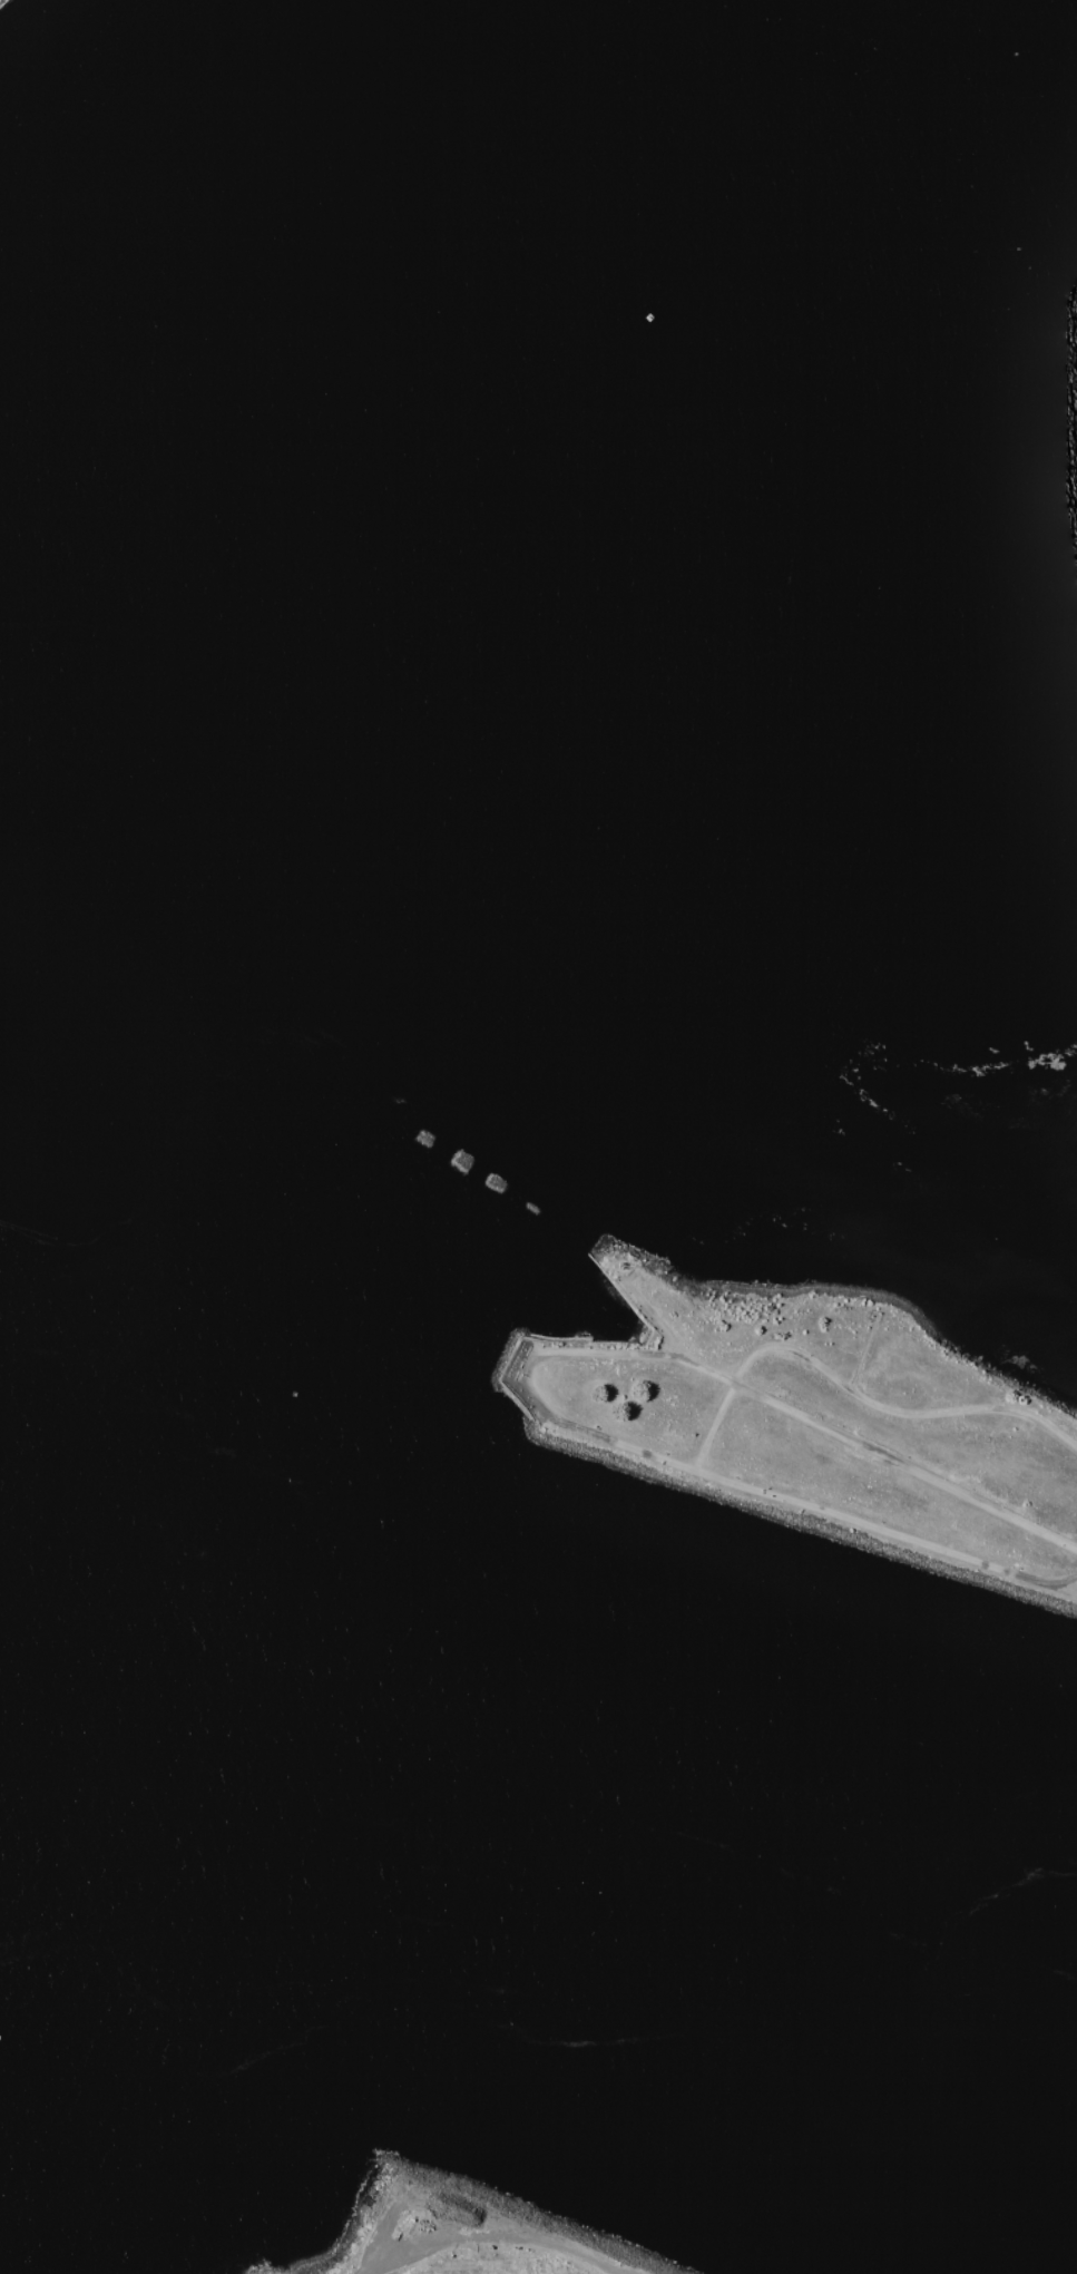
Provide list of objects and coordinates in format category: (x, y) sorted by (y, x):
park: (1, 1)
park: (1, 1)
road: (779, 1348)
road: (633, 1353)
road: (966, 1409)
park: (817, 1423)
road: (875, 1453)
road: (784, 1499)
road: (1064, 1589)
river: (650, 1862)
road: (505, 2243)

